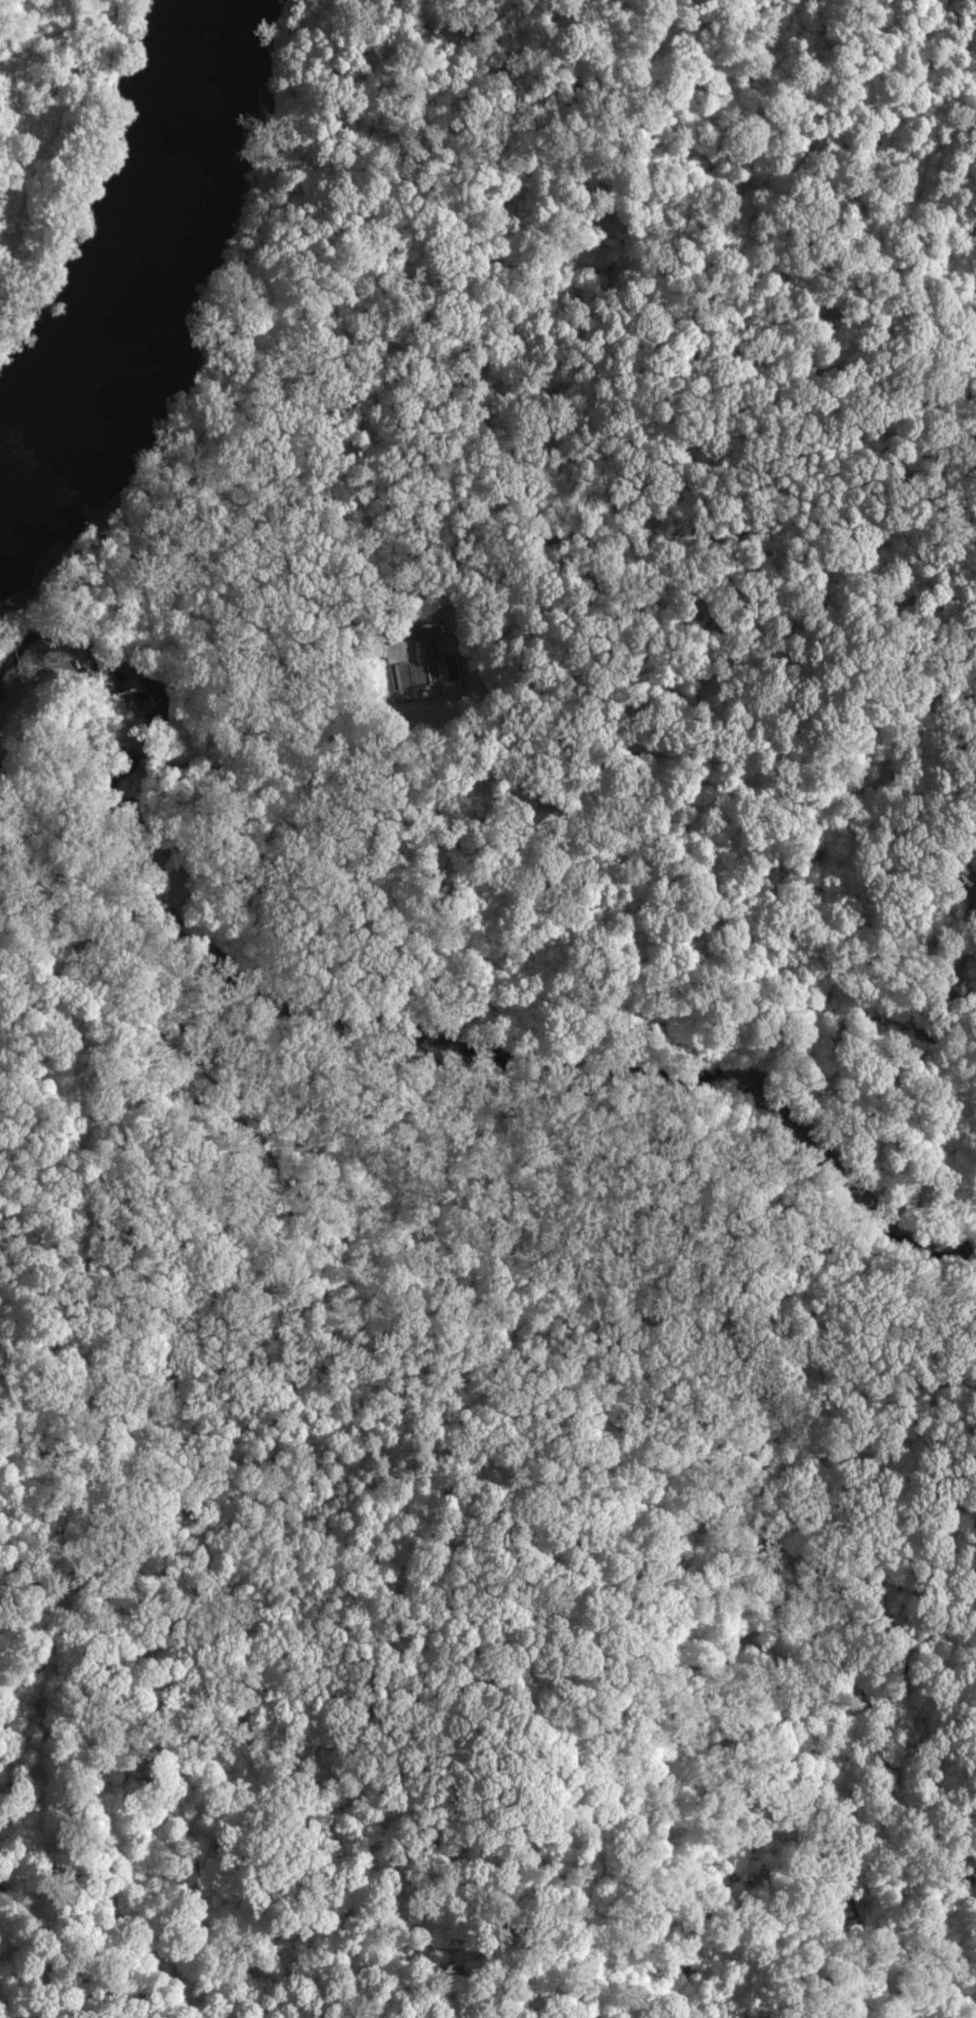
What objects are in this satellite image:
river: (159, 255)
building: (652, 369)
road: (680, 394)
road: (173, 496)
road: (190, 502)
road: (684, 526)
building: (424, 644)
road: (437, 712)
road: (122, 993)
road: (928, 1222)
road: (801, 1231)
road: (849, 1334)
road: (896, 1796)

